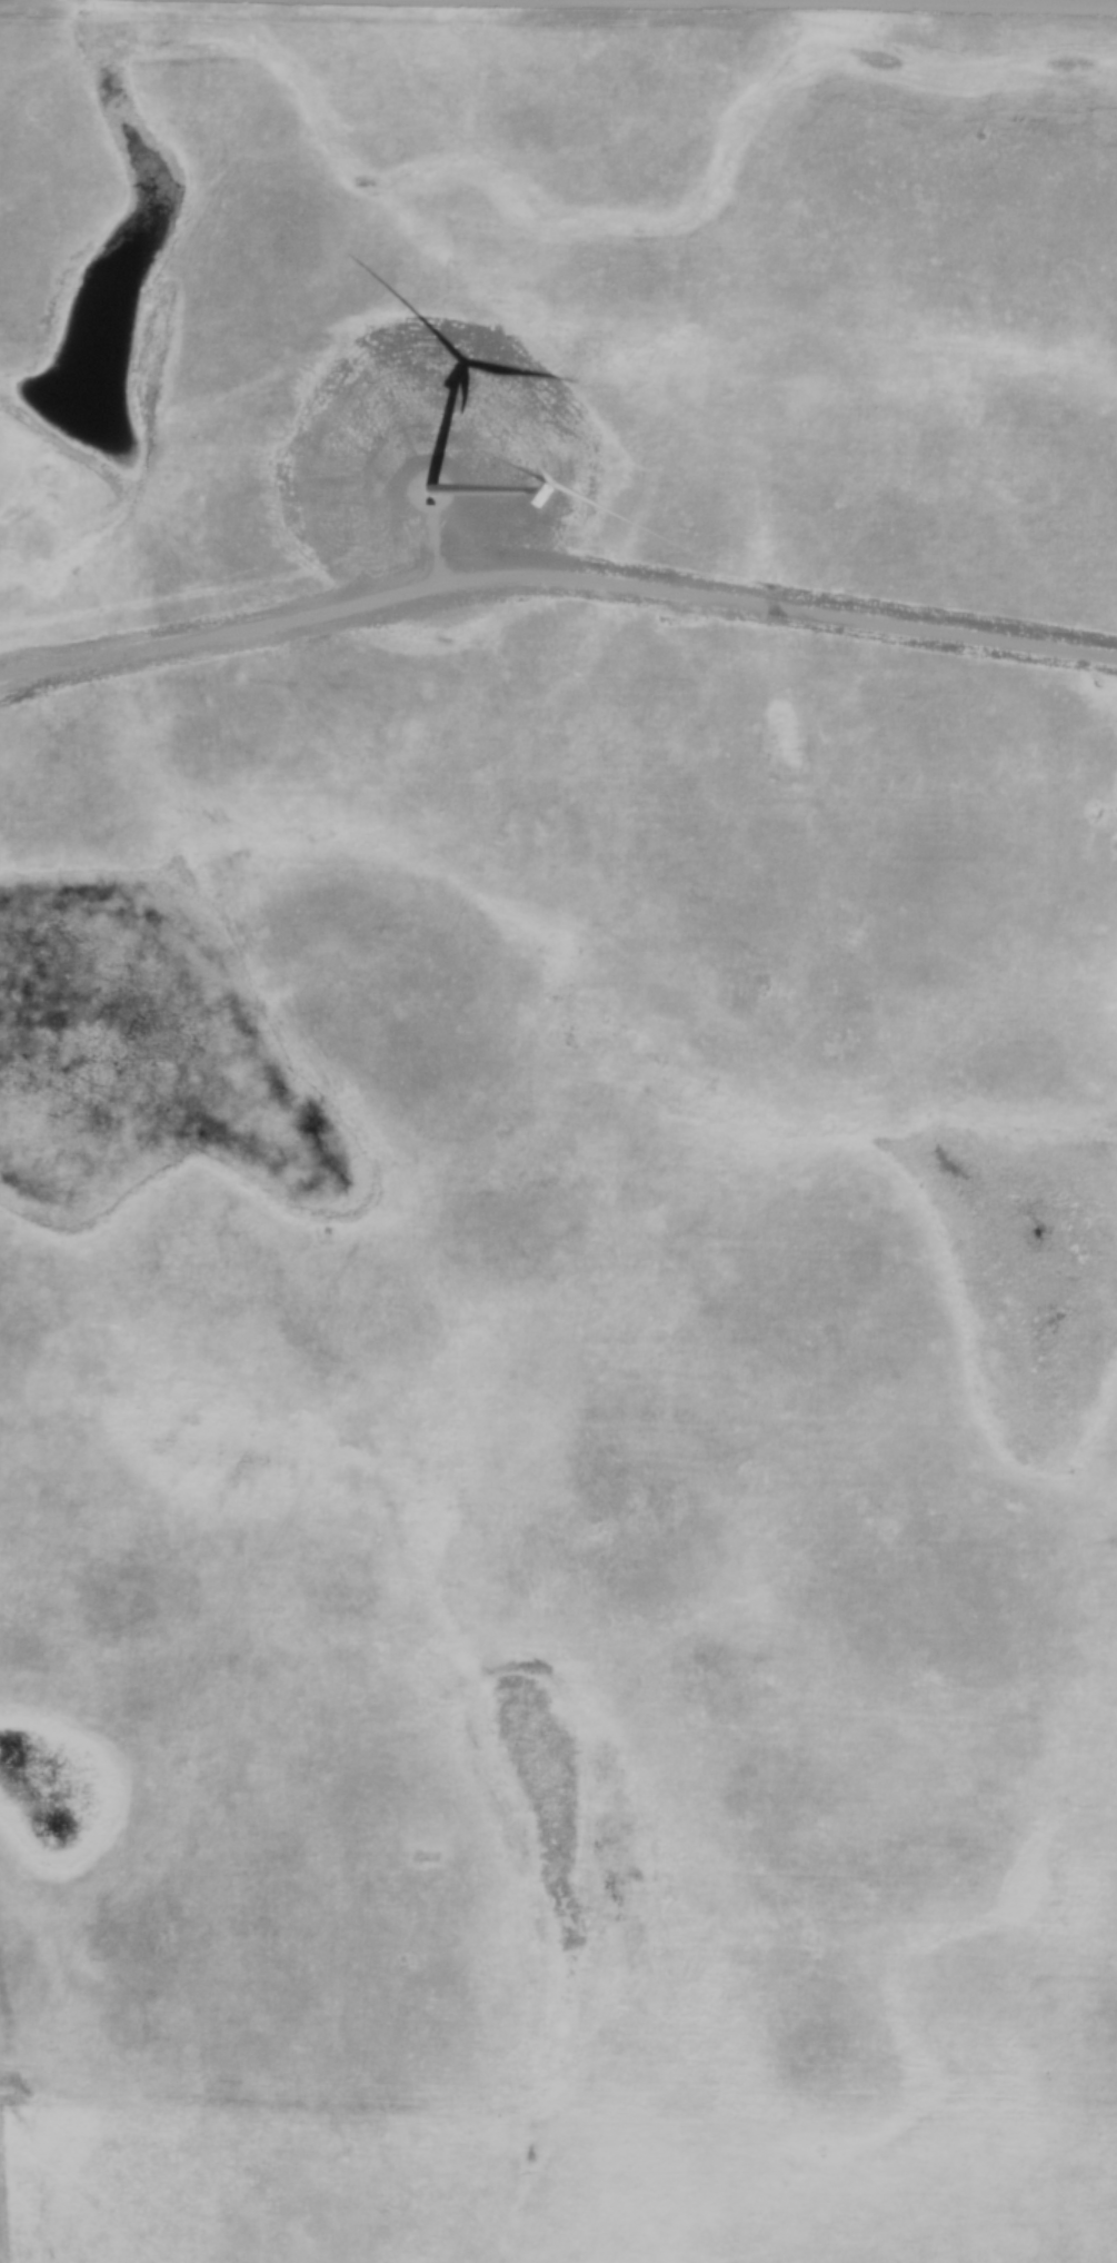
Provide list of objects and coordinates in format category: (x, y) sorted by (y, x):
road: (918, 3)
wind turbine: (430, 490)

